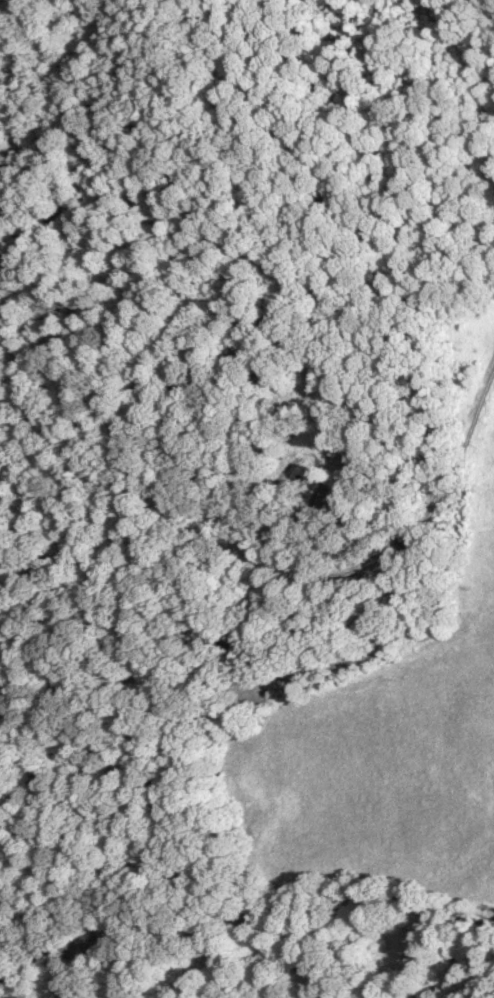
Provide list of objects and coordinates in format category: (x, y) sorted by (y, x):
road: (245, 917)

